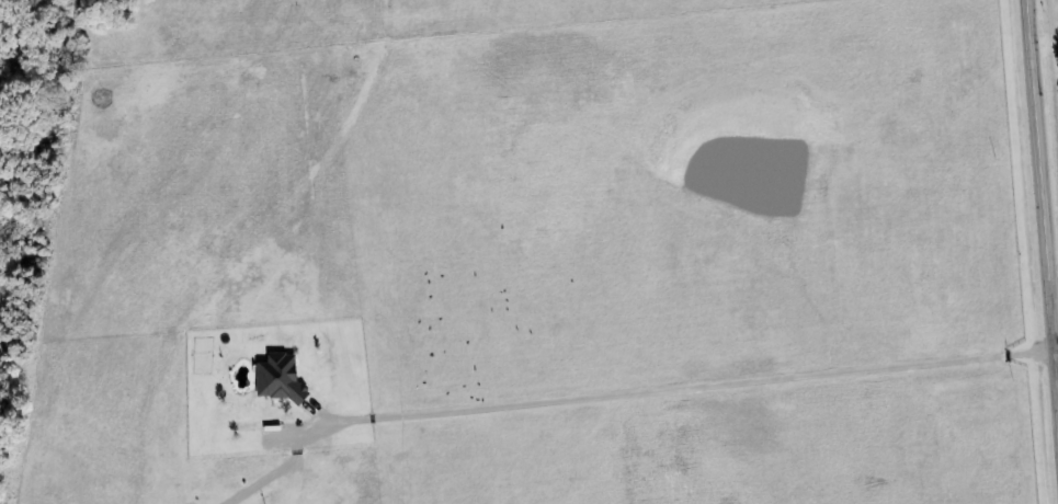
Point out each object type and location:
road: (1043, 13)
road: (1042, 207)
road: (1057, 386)
road: (685, 390)

